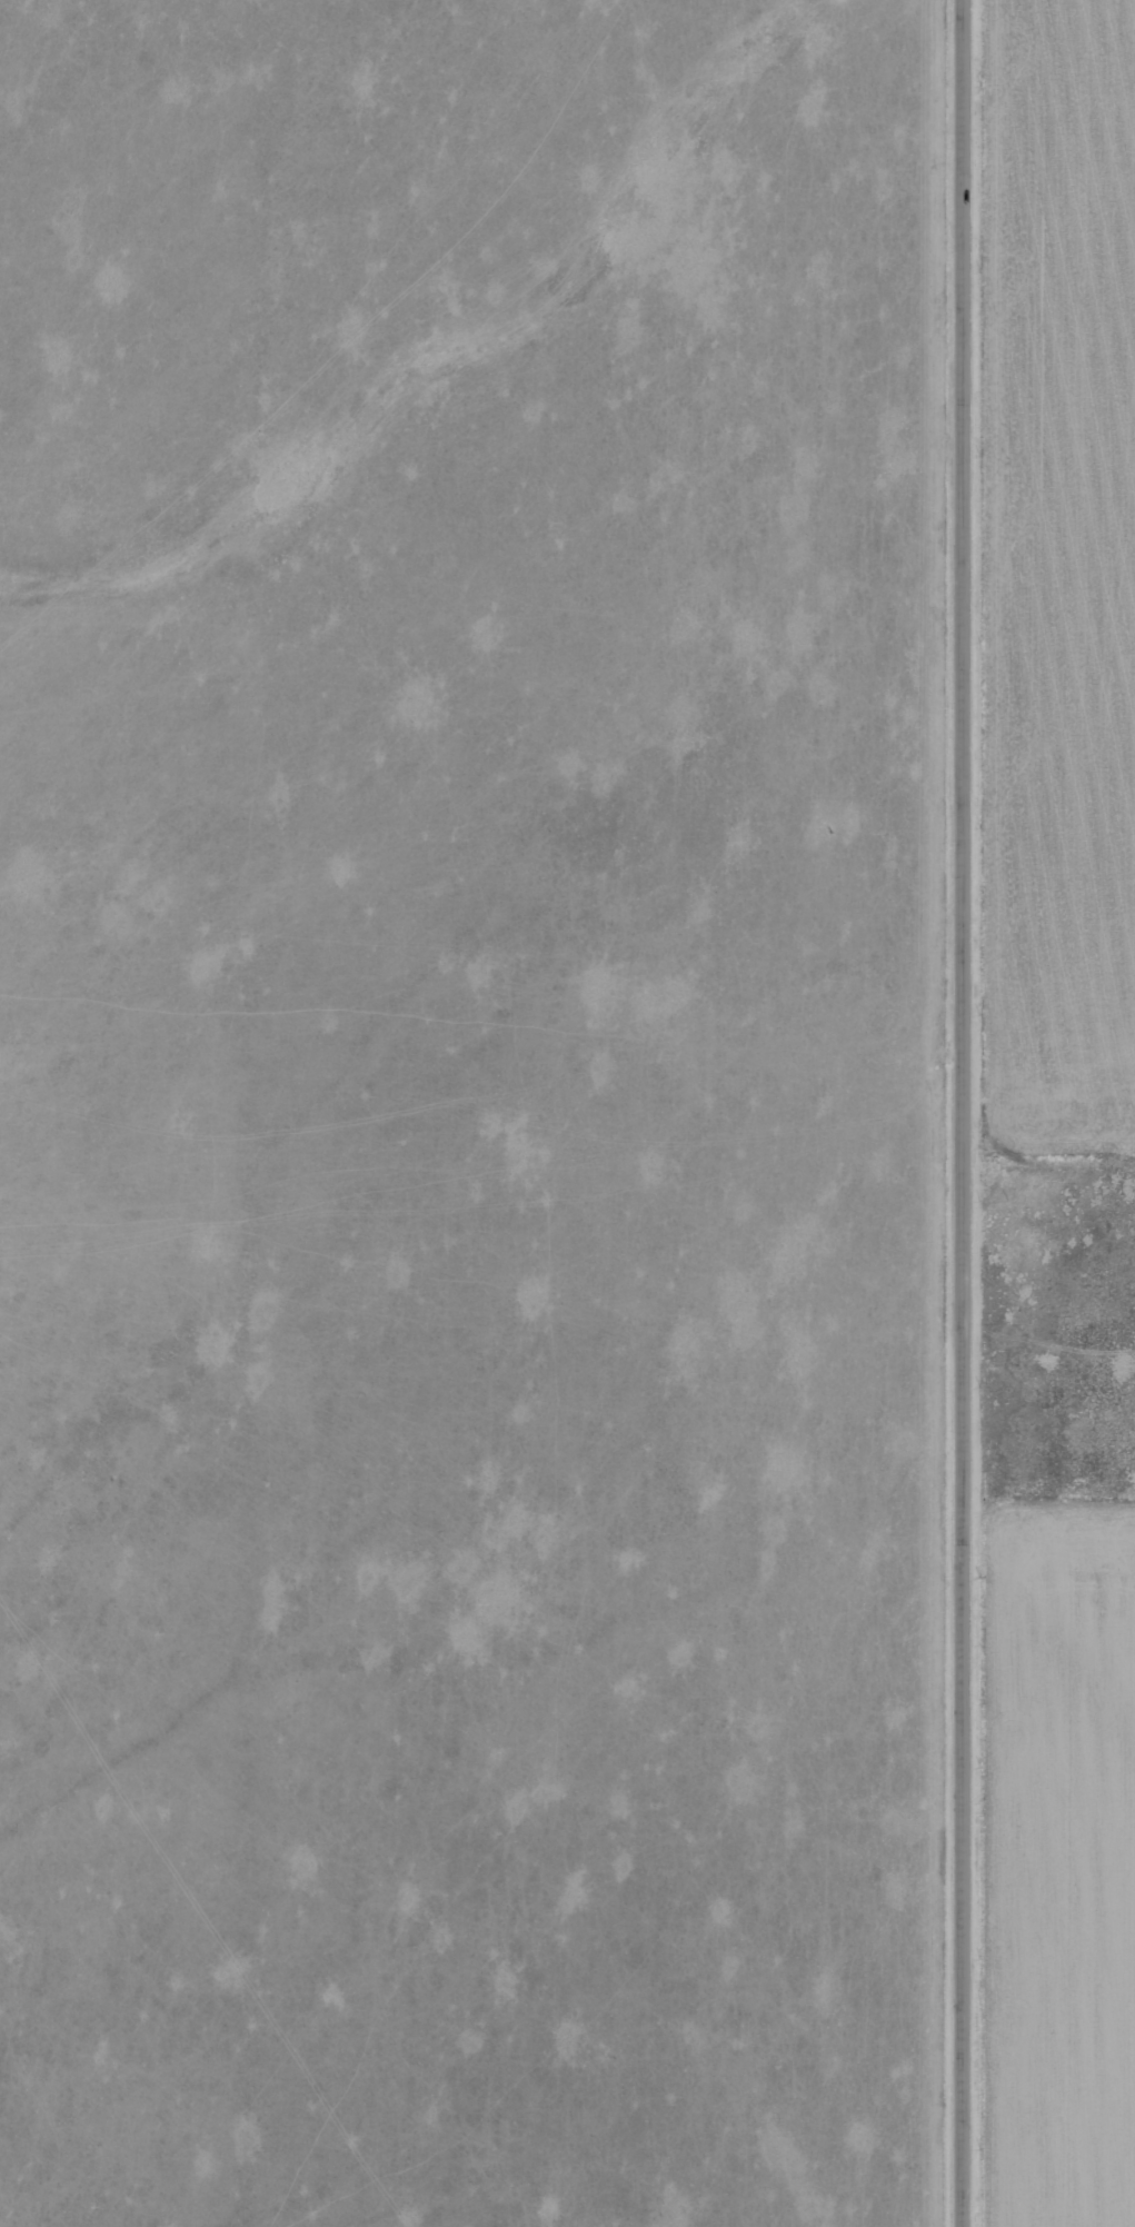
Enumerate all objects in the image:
road: (967, 1113)

